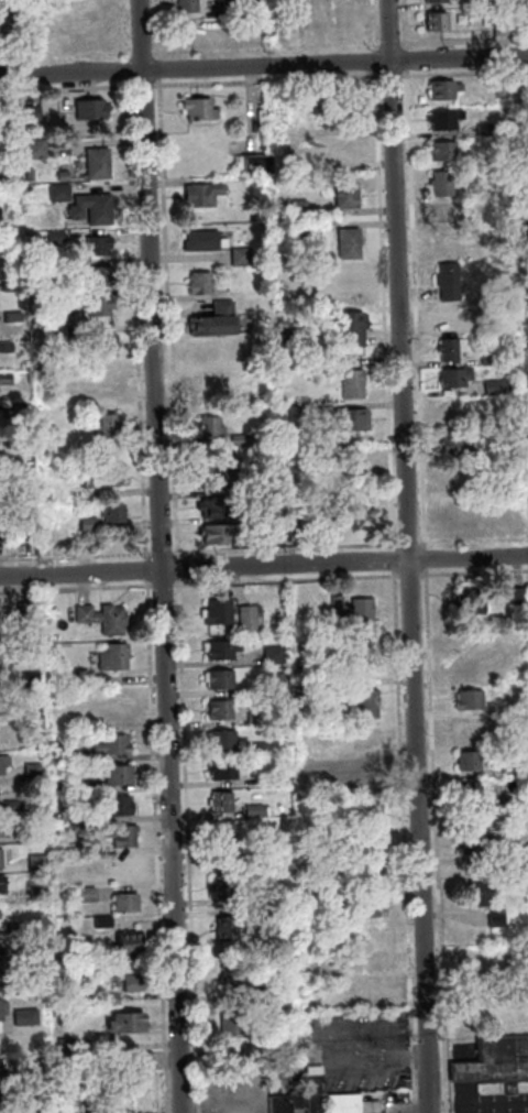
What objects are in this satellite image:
building: (431, 0)
building: (490, 2)
building: (184, 6)
building: (227, 8)
building: (432, 21)
road: (402, 24)
road: (371, 25)
building: (498, 28)
road: (154, 29)
road: (122, 30)
building: (189, 31)
building: (90, 37)
building: (55, 39)
road: (462, 41)
road: (387, 44)
road: (263, 48)
road: (139, 54)
road: (64, 56)
road: (403, 58)
road: (372, 61)
road: (124, 65)
road: (263, 65)
road: (155, 68)
road: (463, 73)
road: (387, 75)
road: (264, 80)
road: (140, 85)
road: (65, 88)
building: (440, 89)
building: (497, 89)
building: (91, 108)
building: (196, 109)
building: (441, 119)
building: (481, 129)
building: (524, 142)
building: (339, 145)
building: (34, 148)
building: (442, 151)
building: (97, 162)
building: (249, 165)
building: (439, 184)
building: (61, 193)
building: (470, 193)
building: (198, 194)
building: (342, 195)
building: (92, 207)
building: (294, 208)
building: (440, 211)
building: (522, 223)
building: (304, 229)
building: (198, 241)
building: (448, 241)
building: (98, 243)
building: (345, 243)
building: (237, 257)
building: (101, 274)
building: (346, 275)
building: (444, 282)
building: (197, 283)
building: (352, 298)
building: (525, 298)
building: (101, 305)
road: (413, 308)
road: (382, 309)
building: (447, 317)
road: (166, 318)
building: (211, 320)
building: (349, 327)
building: (283, 334)
building: (107, 342)
building: (204, 349)
building: (448, 349)
building: (485, 359)
building: (451, 378)
building: (108, 381)
building: (350, 383)
building: (493, 386)
building: (449, 408)
building: (294, 412)
building: (349, 421)
building: (526, 423)
building: (106, 425)
building: (207, 426)
building: (237, 439)
building: (450, 440)
building: (351, 465)
building: (453, 469)
building: (215, 474)
building: (103, 476)
building: (315, 485)
building: (271, 488)
building: (354, 495)
building: (213, 510)
building: (110, 514)
building: (84, 525)
building: (215, 534)
road: (471, 539)
road: (405, 543)
road: (282, 547)
road: (158, 553)
road: (74, 555)
road: (159, 556)
road: (406, 556)
road: (422, 558)
road: (391, 559)
road: (263, 566)
road: (175, 568)
road: (473, 570)
road: (408, 574)
road: (146, 575)
road: (284, 578)
road: (161, 582)
road: (76, 587)
building: (515, 596)
building: (466, 602)
building: (354, 609)
building: (218, 610)
building: (22, 611)
building: (101, 615)
building: (248, 616)
building: (222, 647)
building: (23, 650)
building: (113, 655)
building: (269, 655)
building: (466, 668)
building: (30, 677)
building: (81, 677)
building: (219, 678)
building: (340, 683)
building: (466, 699)
building: (112, 703)
building: (363, 703)
building: (220, 708)
building: (501, 709)
building: (252, 719)
building: (465, 730)
building: (221, 738)
building: (501, 739)
building: (112, 743)
building: (257, 748)
building: (56, 752)
building: (465, 761)
building: (4, 764)
building: (221, 768)
building: (32, 770)
building: (502, 770)
building: (119, 773)
building: (332, 774)
building: (252, 779)
building: (77, 785)
building: (366, 785)
building: (469, 790)
building: (221, 800)
building: (512, 800)
building: (119, 804)
building: (8, 805)
building: (256, 809)
building: (369, 814)
building: (479, 817)
building: (0, 827)
building: (223, 830)
building: (120, 834)
building: (32, 837)
road: (403, 841)
road: (433, 841)
road: (186, 844)
building: (369, 844)
road: (156, 845)
building: (474, 845)
building: (88, 848)
building: (228, 852)
building: (1, 856)
building: (37, 861)
building: (521, 861)
building: (123, 865)
building: (369, 872)
building: (1, 885)
building: (227, 887)
building: (37, 891)
building: (88, 893)
building: (475, 895)
building: (280, 897)
building: (125, 901)
building: (372, 906)
building: (102, 919)
building: (492, 919)
building: (260, 920)
building: (16, 926)
building: (230, 927)
building: (375, 934)
building: (128, 943)
building: (2, 948)
building: (35, 954)
building: (378, 960)
building: (482, 961)
building: (36, 970)
building: (231, 976)
building: (131, 981)
building: (257, 992)
building: (375, 993)
building: (110, 997)
building: (3, 1007)
building: (25, 1015)
building: (125, 1021)
building: (234, 1023)
building: (65, 1040)
building: (255, 1051)
building: (136, 1060)
building: (504, 1060)
building: (1, 1069)
building: (466, 1071)
building: (47, 1077)
building: (313, 1088)
building: (5, 1100)
building: (284, 1102)
building: (342, 1102)
parking lot: (493, 1103)
road: (481, 1105)
building: (48, 1106)
road: (469, 1110)
building: (383, 1112)

